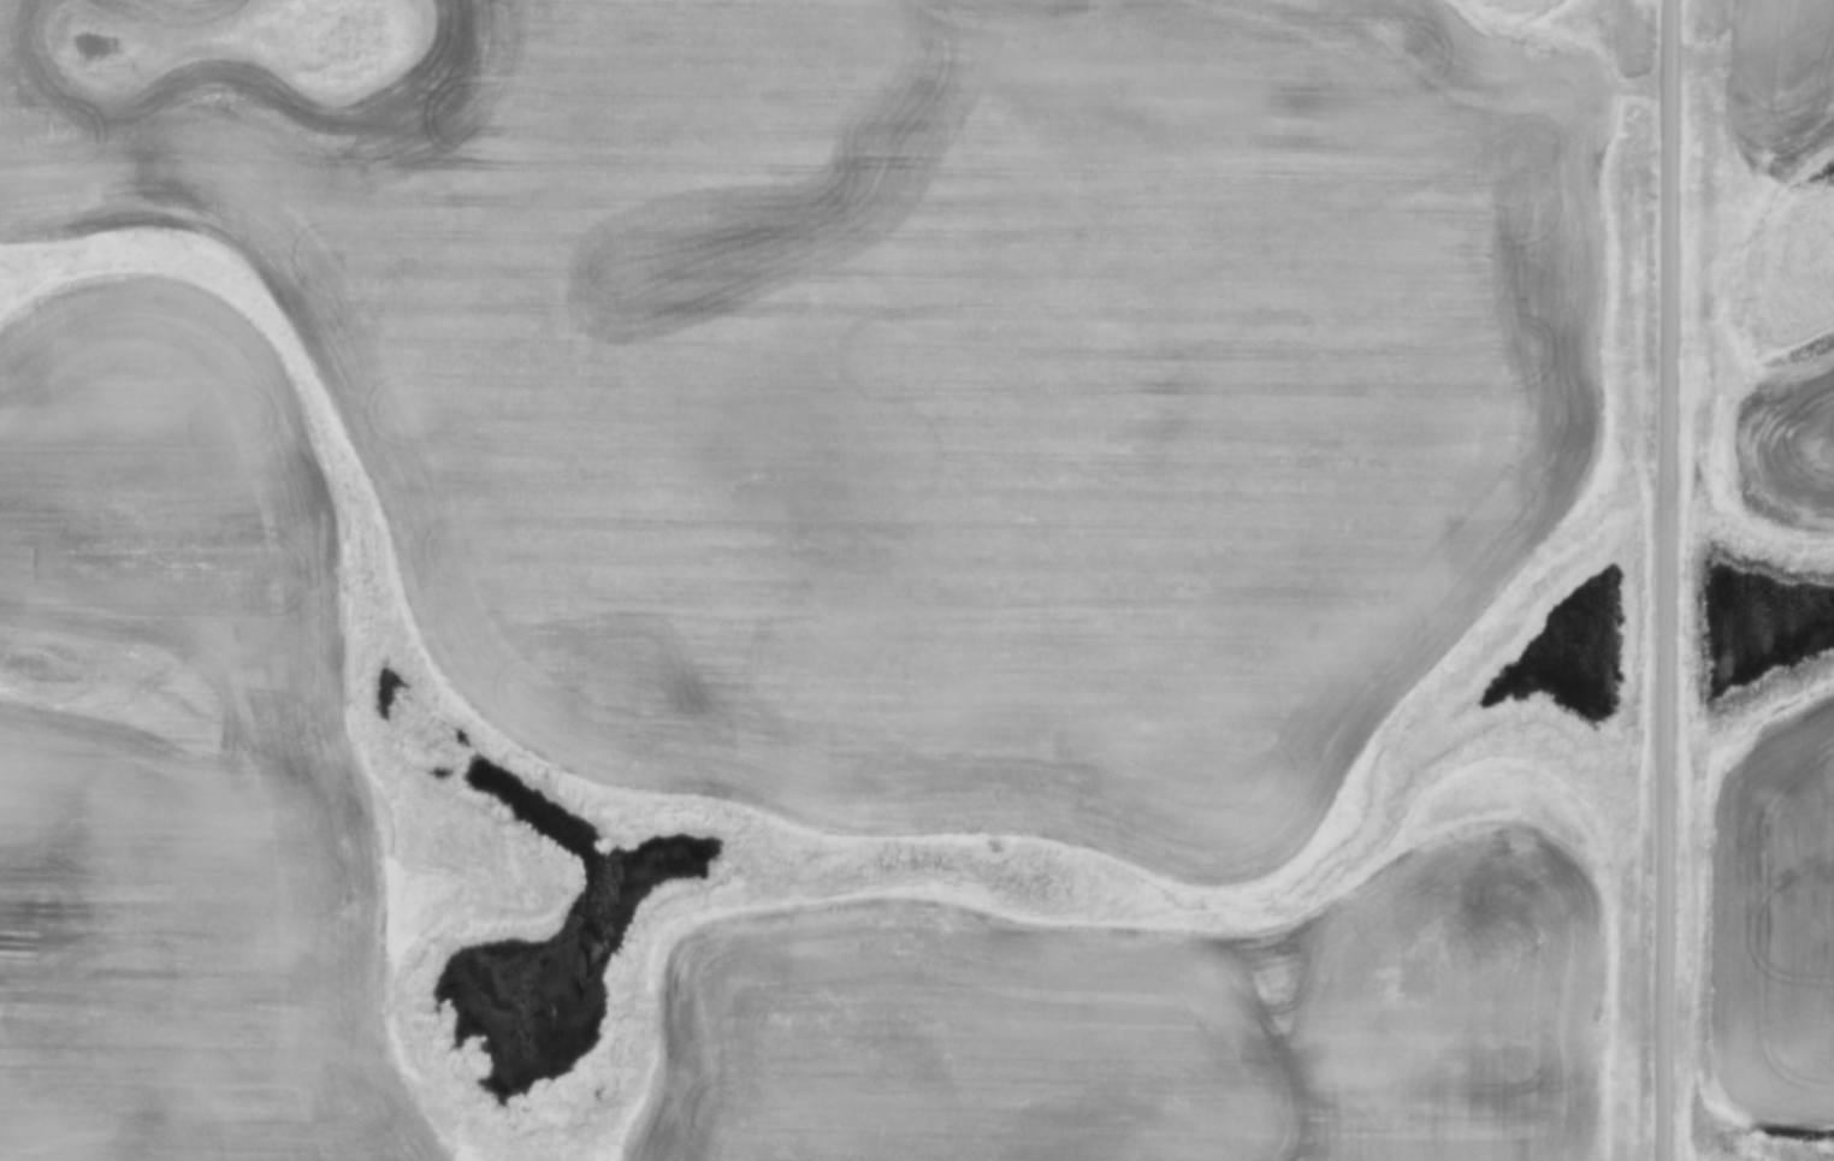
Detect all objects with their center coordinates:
road: (1667, 580)

